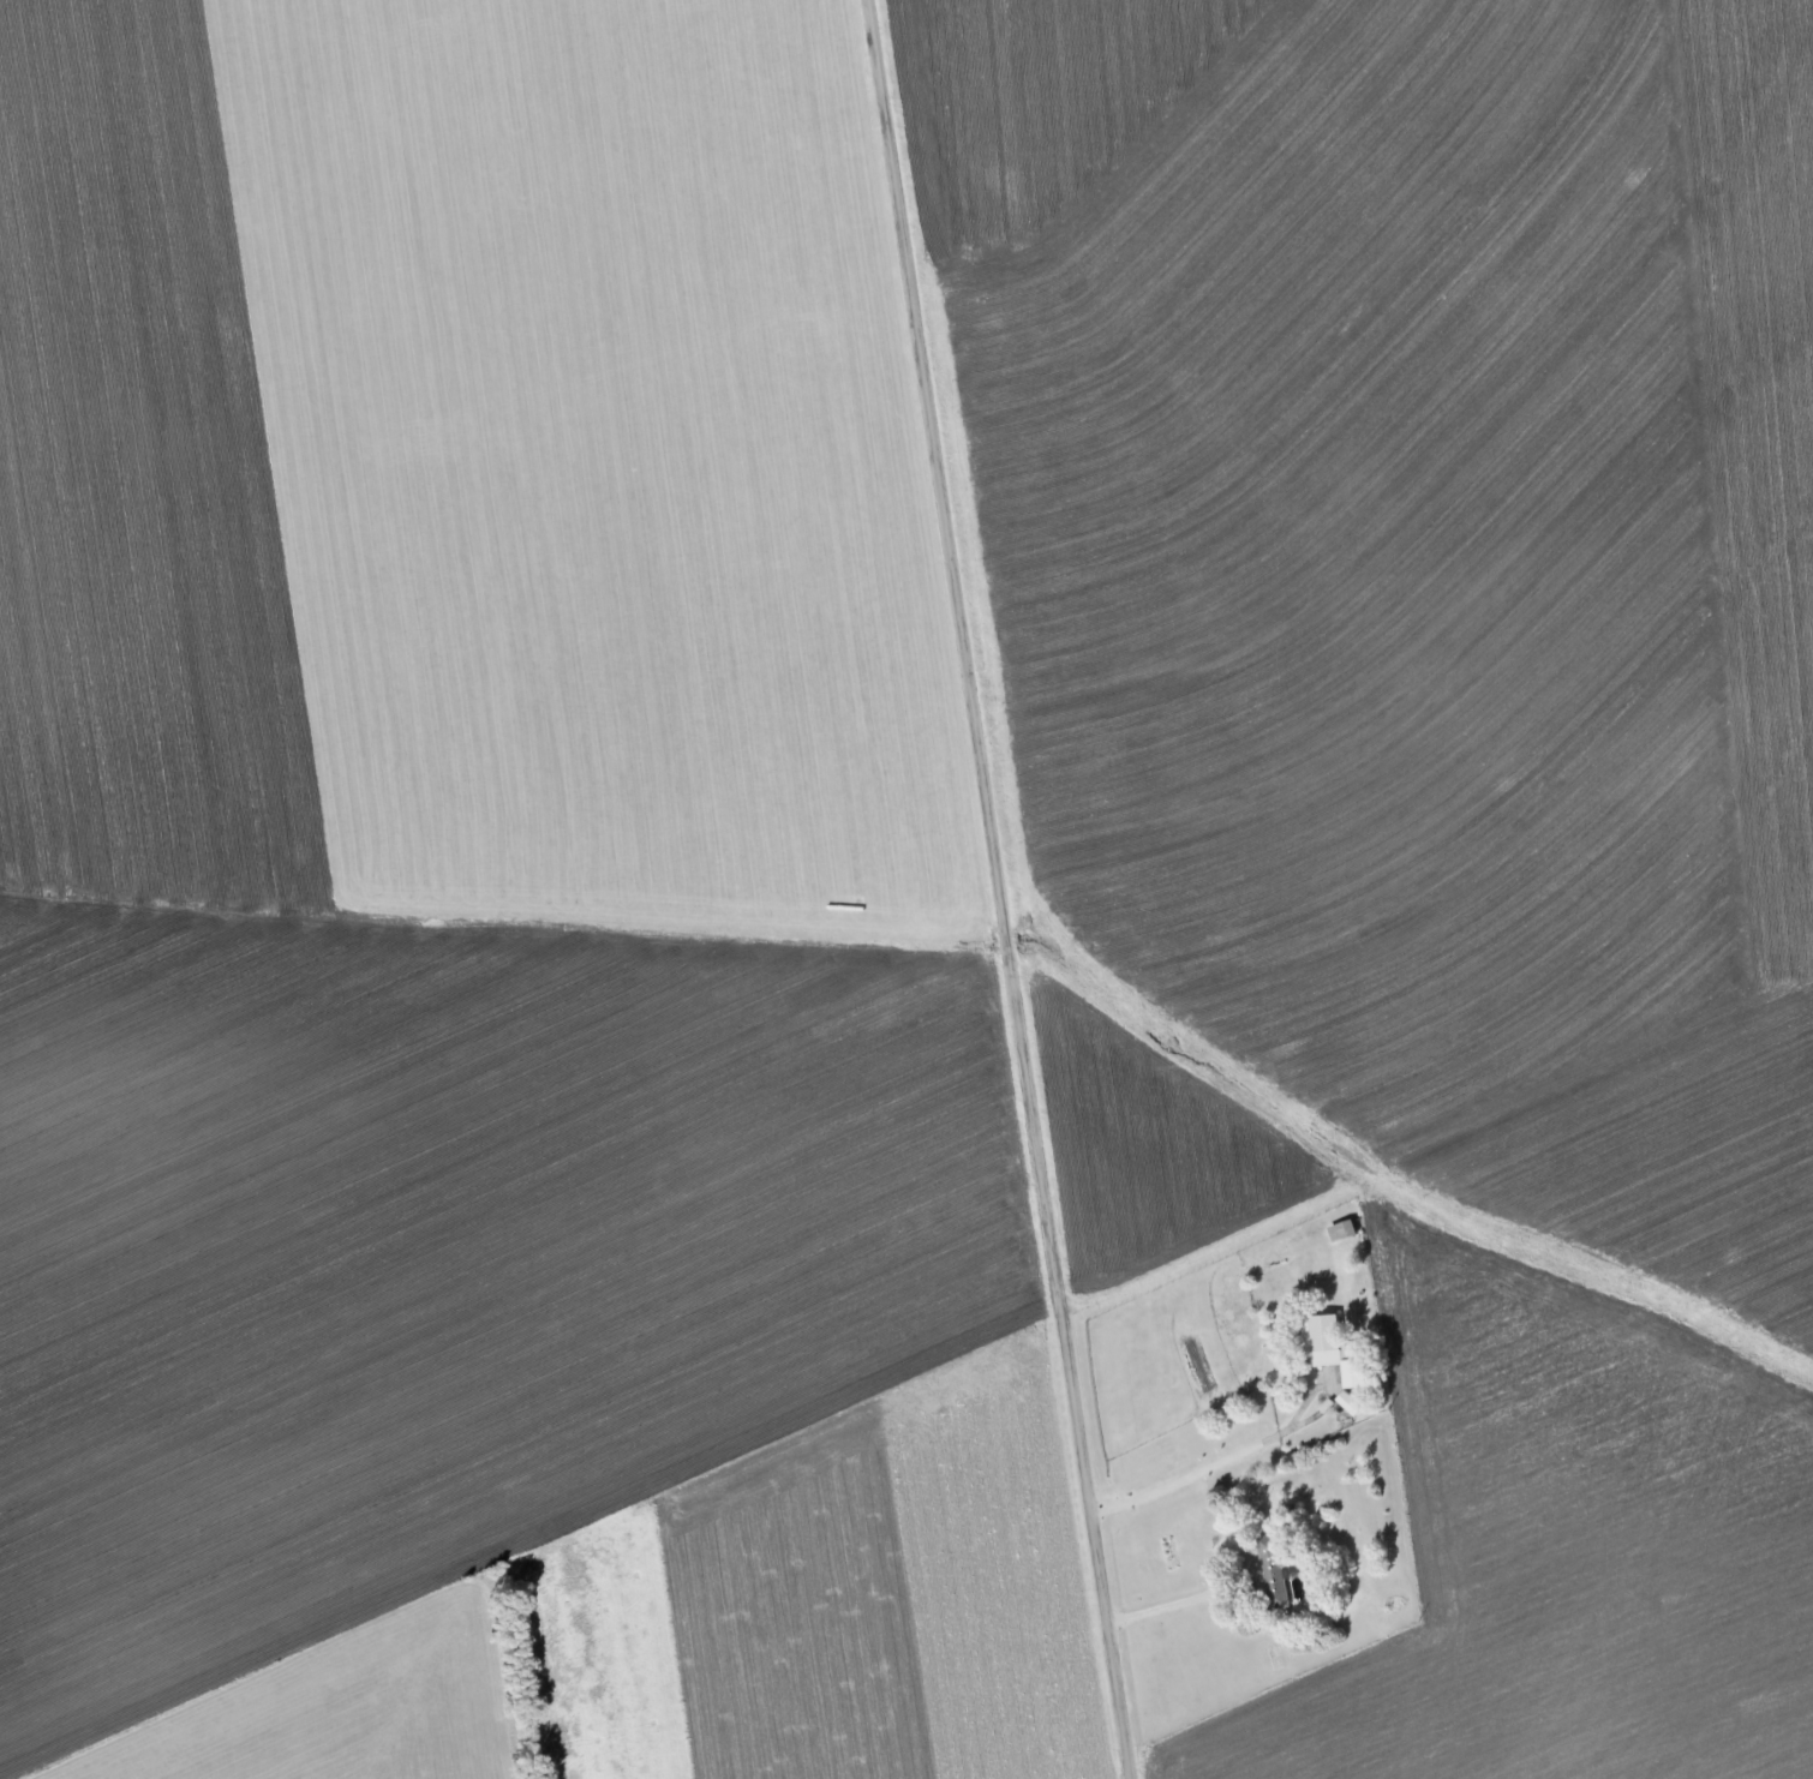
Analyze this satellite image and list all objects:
road: (1000, 888)
building: (1329, 1349)
road: (1257, 1455)
building: (1273, 1575)
road: (1178, 1601)

